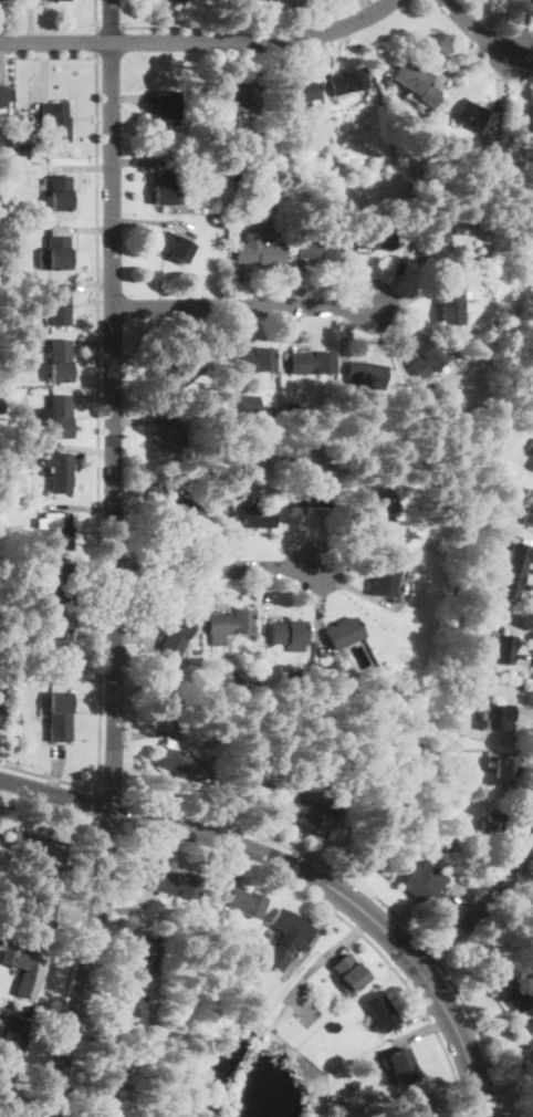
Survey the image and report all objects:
building: (168, 1)
road: (367, 7)
road: (95, 13)
road: (297, 19)
road: (31, 21)
road: (111, 21)
road: (234, 22)
road: (109, 25)
road: (245, 27)
road: (475, 30)
road: (522, 41)
road: (96, 42)
road: (200, 42)
road: (322, 54)
road: (48, 56)
road: (464, 59)
road: (218, 61)
road: (276, 61)
road: (522, 62)
road: (8, 63)
road: (44, 71)
building: (346, 81)
building: (417, 81)
road: (499, 86)
building: (296, 92)
building: (239, 94)
building: (4, 95)
building: (366, 95)
road: (130, 98)
building: (306, 105)
building: (165, 108)
building: (474, 115)
building: (525, 117)
building: (55, 121)
building: (343, 127)
building: (262, 137)
building: (22, 149)
road: (139, 160)
road: (84, 168)
building: (236, 176)
building: (161, 185)
building: (201, 185)
building: (58, 192)
building: (0, 198)
building: (272, 212)
road: (151, 222)
road: (91, 230)
building: (372, 238)
building: (1, 239)
building: (173, 247)
building: (317, 248)
building: (55, 250)
building: (466, 250)
building: (258, 252)
building: (431, 252)
road: (356, 274)
road: (234, 275)
road: (396, 280)
road: (303, 283)
road: (93, 288)
road: (415, 295)
building: (59, 304)
building: (448, 305)
road: (242, 306)
road: (233, 327)
road: (197, 331)
road: (291, 335)
road: (388, 337)
road: (344, 341)
road: (92, 343)
building: (428, 361)
building: (59, 362)
building: (250, 362)
building: (309, 362)
building: (7, 372)
building: (181, 373)
building: (365, 373)
building: (211, 395)
road: (94, 397)
building: (249, 404)
building: (291, 406)
building: (3, 411)
building: (59, 414)
building: (272, 416)
road: (147, 419)
building: (438, 419)
road: (98, 422)
building: (23, 436)
building: (285, 438)
building: (165, 443)
road: (65, 447)
building: (374, 455)
building: (7, 459)
building: (60, 472)
building: (6, 474)
road: (148, 478)
building: (305, 487)
building: (173, 503)
road: (81, 507)
building: (527, 507)
building: (251, 515)
building: (375, 519)
building: (58, 528)
road: (288, 529)
building: (2, 531)
road: (334, 534)
building: (439, 543)
building: (490, 544)
road: (236, 550)
road: (83, 560)
building: (511, 567)
road: (213, 568)
building: (383, 578)
road: (114, 583)
road: (349, 586)
building: (55, 588)
road: (207, 599)
road: (263, 603)
road: (321, 608)
building: (230, 623)
road: (83, 624)
building: (286, 633)
building: (342, 633)
building: (53, 641)
building: (174, 645)
building: (500, 646)
road: (523, 658)
road: (153, 659)
building: (1, 668)
building: (236, 678)
building: (291, 678)
road: (523, 712)
building: (0, 713)
building: (495, 716)
building: (59, 717)
building: (17, 719)
road: (143, 734)
building: (451, 743)
building: (231, 747)
building: (171, 760)
road: (526, 760)
road: (56, 768)
building: (504, 768)
road: (46, 775)
building: (245, 792)
road: (55, 793)
road: (109, 793)
road: (94, 802)
road: (219, 806)
building: (306, 811)
road: (63, 816)
building: (492, 823)
road: (522, 825)
road: (285, 844)
building: (34, 845)
road: (313, 850)
road: (234, 870)
road: (527, 874)
building: (168, 883)
building: (424, 884)
road: (516, 895)
road: (352, 900)
building: (245, 902)
road: (77, 904)
road: (123, 905)
road: (459, 909)
building: (165, 911)
road: (479, 911)
building: (531, 917)
building: (41, 918)
building: (291, 930)
road: (313, 938)
road: (429, 949)
building: (142, 952)
road: (45, 953)
road: (321, 960)
road: (103, 962)
road: (70, 968)
building: (24, 971)
building: (348, 971)
road: (100, 988)
building: (510, 990)
building: (532, 991)
road: (418, 999)
building: (129, 1011)
building: (382, 1011)
road: (416, 1015)
road: (41, 1016)
road: (497, 1022)
road: (421, 1030)
road: (480, 1034)
building: (14, 1035)
building: (527, 1036)
road: (86, 1041)
building: (401, 1066)
road: (28, 1068)
building: (113, 1069)
road: (505, 1072)
building: (142, 1082)
road: (506, 1084)
building: (6, 1086)
road: (83, 1095)
building: (421, 1106)
building: (104, 1111)

